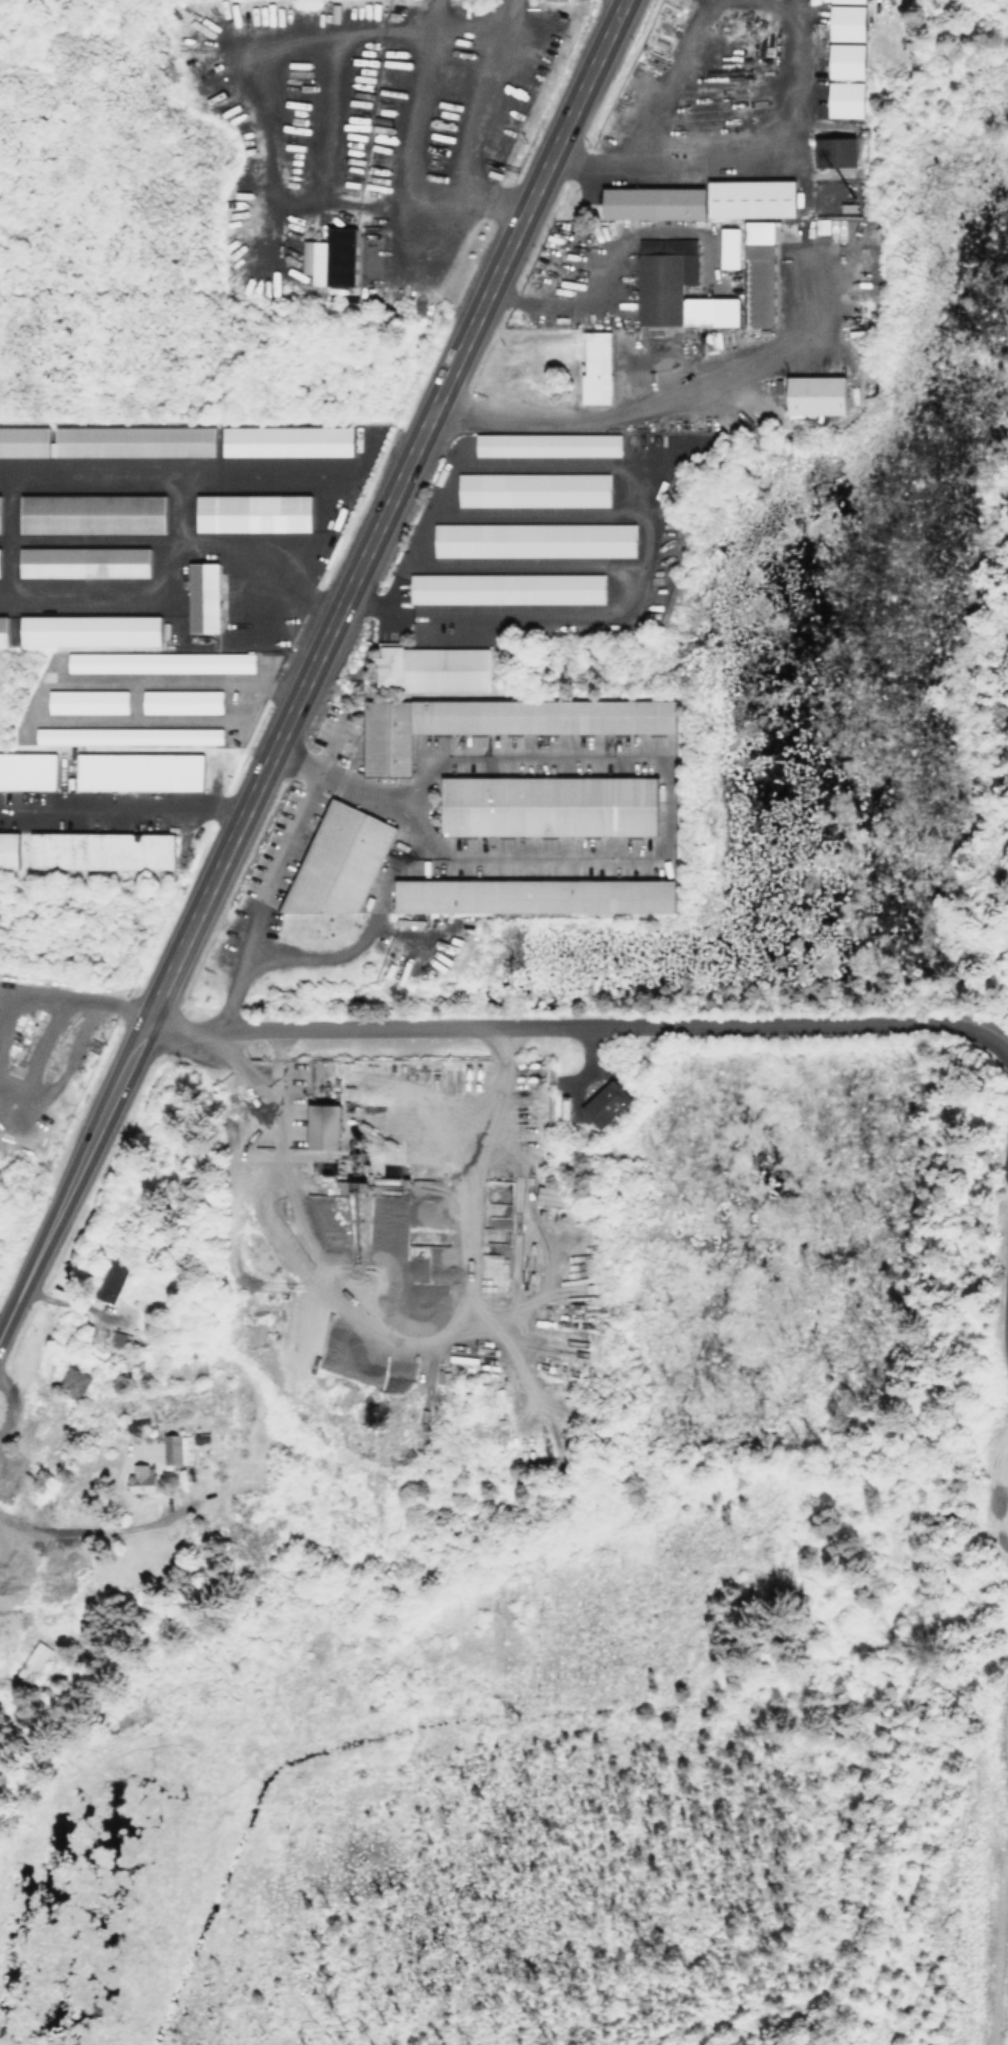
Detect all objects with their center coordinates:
building: (849, 1)
building: (848, 23)
building: (848, 61)
road: (796, 63)
building: (847, 99)
road: (262, 147)
building: (837, 152)
building: (830, 196)
road: (491, 199)
building: (753, 199)
road: (432, 203)
building: (657, 203)
building: (816, 226)
building: (730, 247)
building: (335, 253)
building: (759, 273)
building: (676, 286)
building: (596, 365)
building: (817, 393)
road: (646, 403)
building: (24, 440)
building: (133, 440)
building: (285, 441)
building: (546, 443)
road: (233, 476)
building: (532, 488)
road: (176, 508)
building: (92, 513)
building: (251, 515)
road: (6, 534)
building: (532, 538)
road: (175, 540)
park: (928, 558)
building: (84, 561)
building: (506, 587)
road: (107, 595)
building: (203, 596)
road: (331, 614)
building: (90, 629)
building: (3, 630)
building: (159, 661)
building: (432, 667)
road: (168, 683)
building: (86, 700)
building: (181, 700)
road: (140, 720)
building: (499, 721)
building: (125, 734)
road: (505, 759)
building: (27, 769)
building: (138, 771)
building: (549, 804)
road: (120, 807)
building: (8, 849)
building: (101, 850)
road: (512, 858)
building: (339, 860)
road: (274, 876)
road: (380, 890)
building: (535, 895)
road: (980, 986)
road: (18, 997)
road: (102, 1005)
road: (549, 1028)
road: (988, 1043)
road: (35, 1057)
road: (64, 1059)
building: (606, 1103)
building: (562, 1107)
building: (326, 1125)
building: (552, 1196)
road: (21, 1275)
road: (374, 1318)
road: (1007, 1339)
building: (72, 1383)
road: (6, 1405)
building: (179, 1446)
building: (140, 1476)
road: (112, 1526)
building: (29, 1662)
road: (1007, 1729)
road: (995, 1939)

